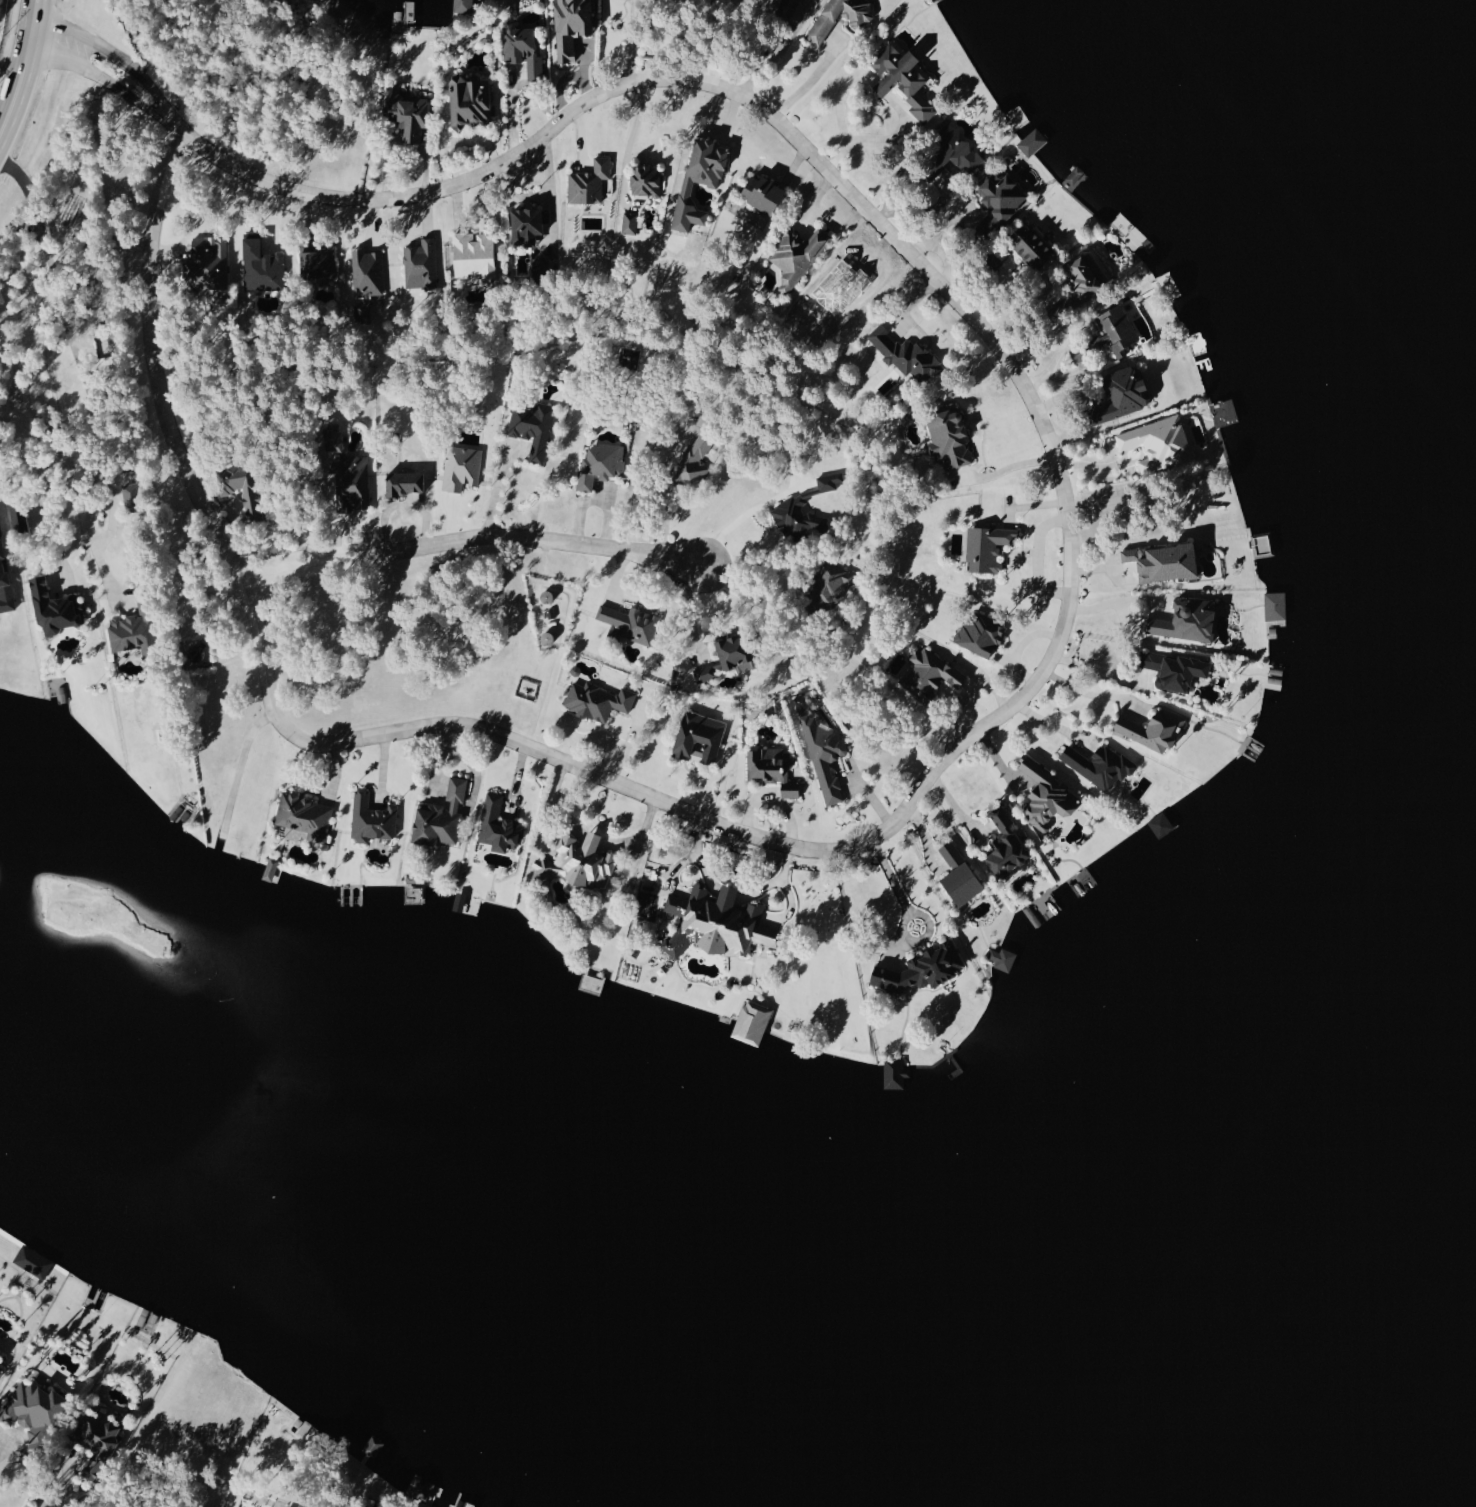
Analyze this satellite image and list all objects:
building: (462, 6)
building: (786, 9)
building: (823, 21)
building: (570, 25)
road: (631, 40)
building: (522, 49)
road: (775, 50)
road: (23, 66)
road: (810, 79)
building: (902, 79)
building: (469, 101)
building: (408, 115)
road: (628, 141)
building: (1032, 141)
building: (953, 151)
building: (698, 179)
building: (644, 180)
building: (588, 182)
building: (761, 193)
building: (999, 200)
building: (628, 223)
building: (527, 224)
building: (1031, 245)
building: (472, 253)
building: (796, 255)
building: (317, 260)
building: (993, 262)
building: (206, 264)
building: (420, 265)
building: (261, 266)
building: (366, 273)
building: (1084, 276)
building: (1108, 334)
building: (904, 354)
road: (76, 363)
building: (1122, 394)
building: (531, 427)
building: (948, 438)
building: (1158, 443)
road: (49, 459)
building: (693, 459)
building: (600, 464)
road: (1014, 466)
building: (460, 467)
building: (347, 474)
building: (828, 481)
building: (404, 483)
building: (241, 487)
road: (498, 489)
road: (665, 493)
building: (130, 495)
road: (744, 517)
building: (796, 518)
road: (466, 539)
building: (987, 547)
building: (1163, 562)
building: (828, 584)
building: (5, 590)
building: (1274, 606)
building: (54, 607)
building: (1185, 621)
building: (630, 623)
building: (133, 631)
building: (980, 634)
road: (1052, 650)
building: (732, 651)
building: (1174, 670)
road: (1092, 672)
building: (703, 673)
building: (929, 675)
road: (1091, 694)
building: (596, 701)
building: (1152, 730)
building: (698, 738)
building: (822, 751)
building: (1099, 765)
building: (771, 770)
building: (1047, 797)
building: (440, 817)
building: (302, 818)
building: (371, 819)
building: (1160, 825)
building: (498, 826)
building: (1004, 844)
building: (578, 862)
building: (270, 869)
building: (959, 876)
road: (910, 909)
building: (716, 924)
building: (920, 970)
building: (751, 1023)
building: (894, 1074)
building: (32, 1261)
building: (0, 1361)
building: (32, 1410)
building: (95, 1441)
building: (371, 1446)

